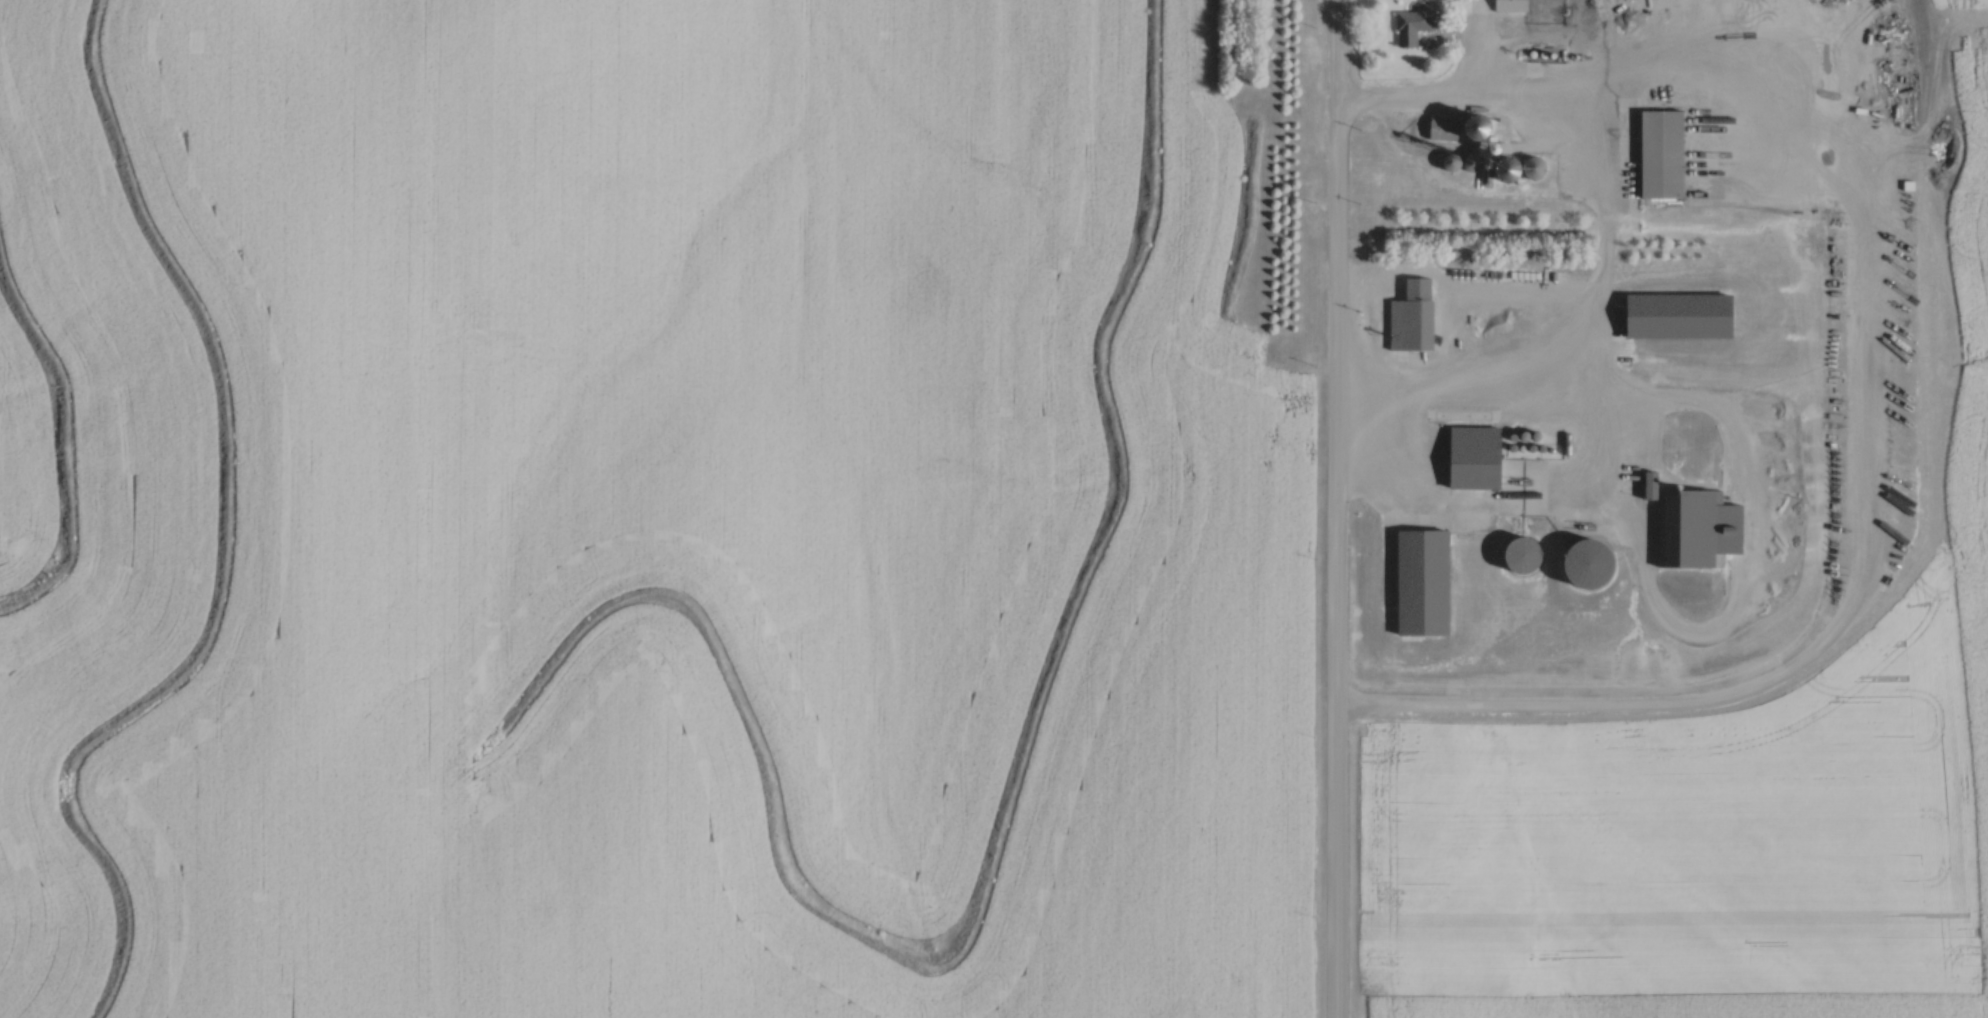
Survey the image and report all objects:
building: (1514, 4)
building: (1414, 22)
road: (1426, 106)
building: (1441, 125)
building: (1669, 152)
building: (1456, 158)
building: (1410, 313)
building: (1686, 314)
building: (1481, 453)
road: (1338, 508)
building: (1512, 550)
building: (1427, 578)

